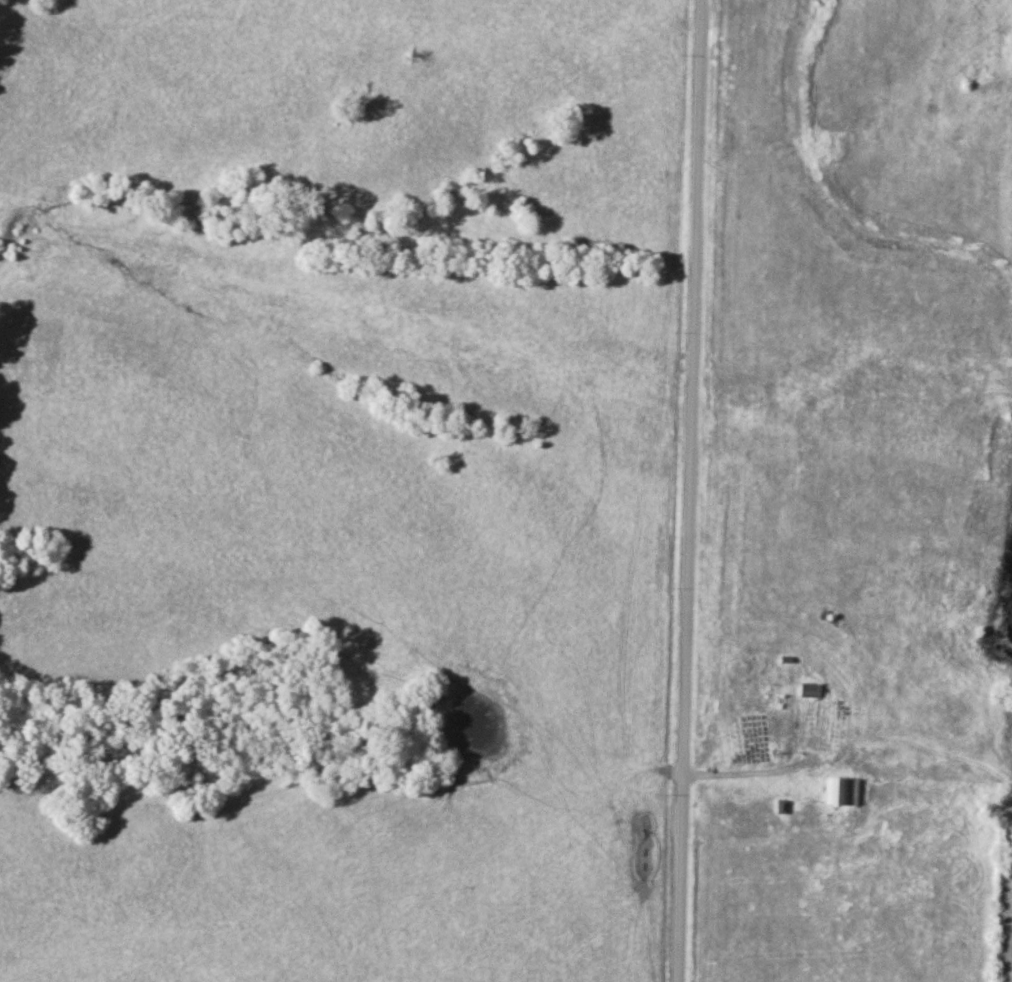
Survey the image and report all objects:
road: (691, 491)
building: (807, 691)
road: (754, 772)
building: (837, 793)

